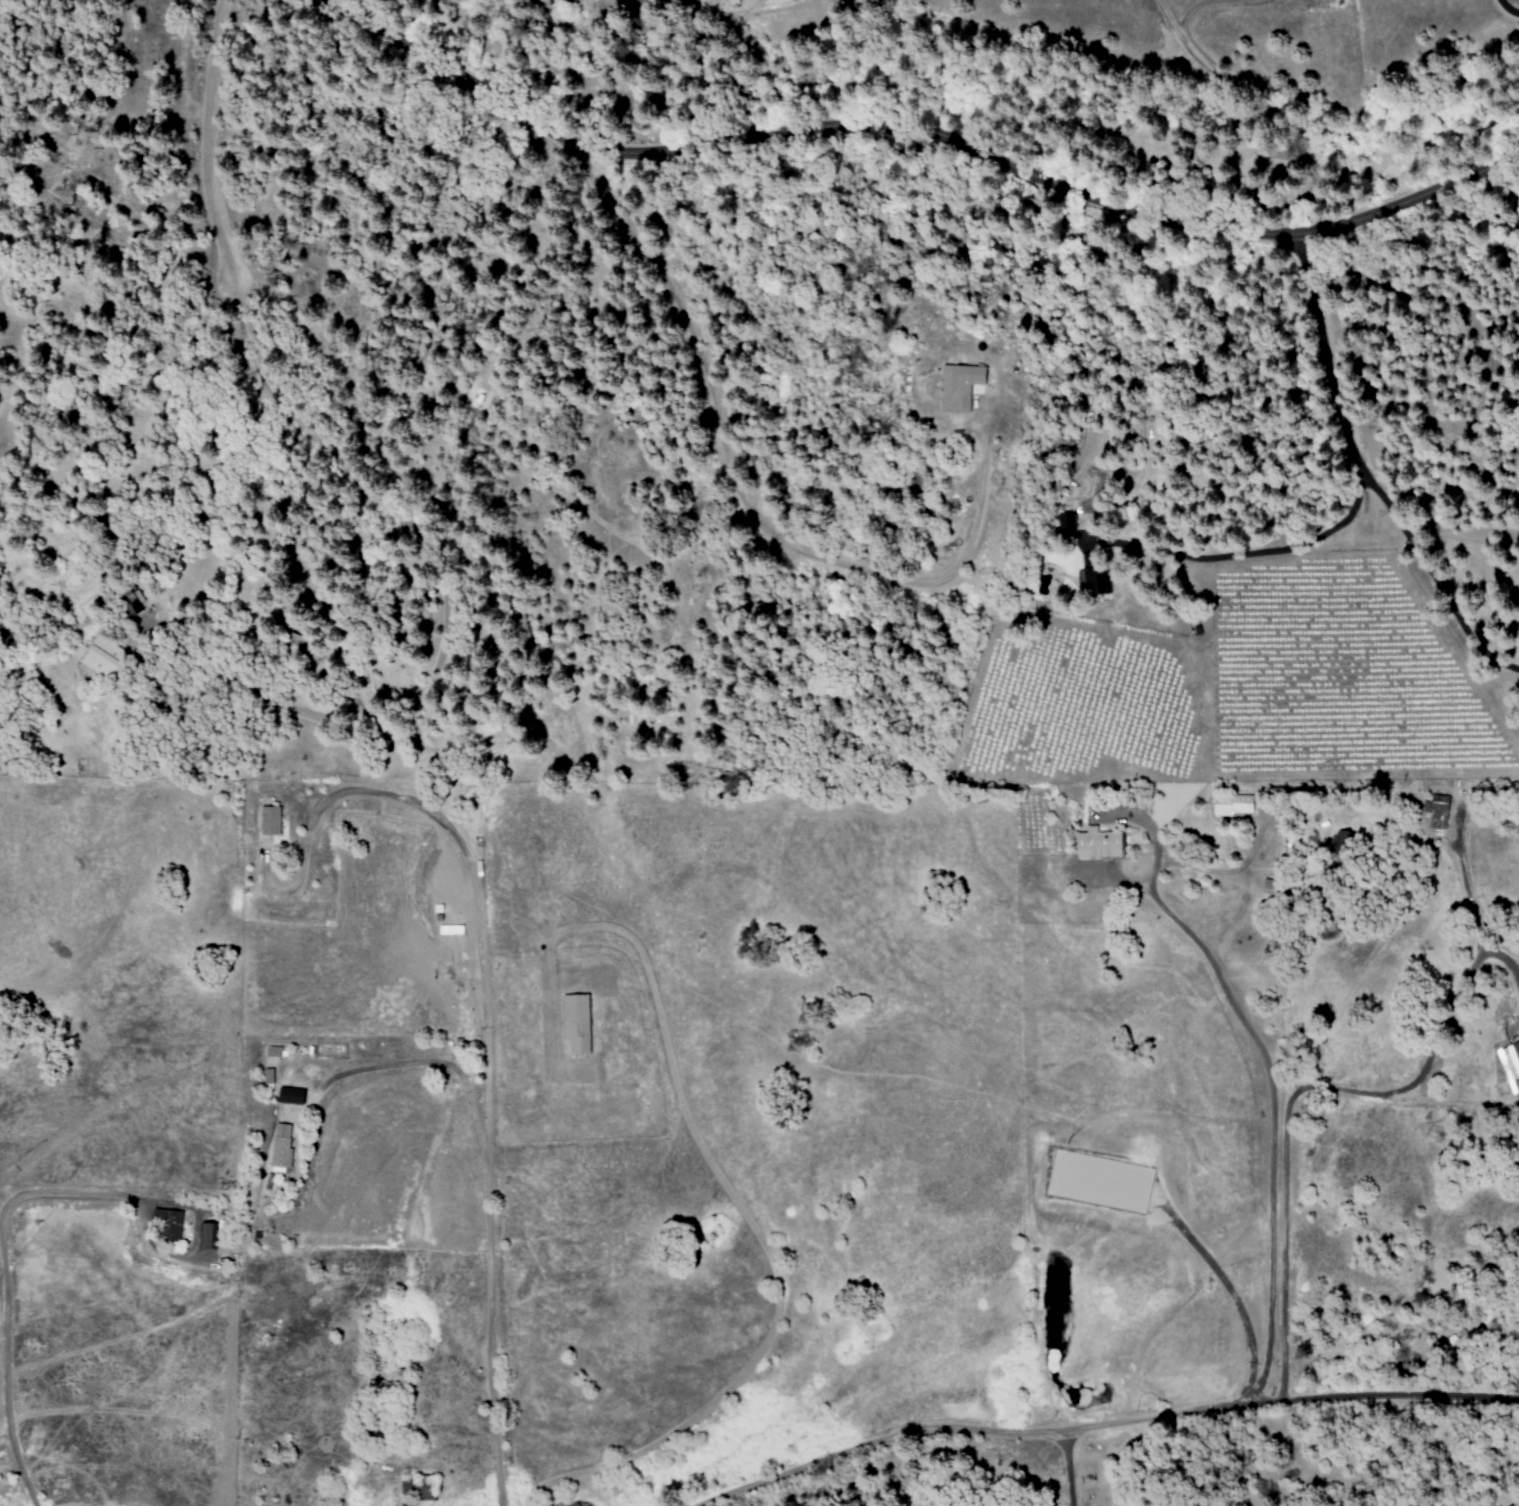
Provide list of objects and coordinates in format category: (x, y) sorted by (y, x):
road: (915, 140)
road: (203, 143)
building: (958, 385)
road: (751, 508)
building: (1066, 524)
building: (1094, 578)
building: (131, 603)
road: (441, 617)
building: (102, 657)
building: (1231, 805)
building: (1437, 811)
building: (269, 820)
building: (1097, 843)
building: (576, 1023)
building: (1512, 1064)
building: (267, 1076)
road: (1324, 1092)
building: (290, 1095)
road: (1264, 1098)
building: (281, 1146)
road: (75, 1195)
building: (166, 1225)
road: (485, 1225)
building: (205, 1236)
road: (1226, 1293)
road: (3, 1398)
road: (1104, 1423)
road: (1067, 1469)

